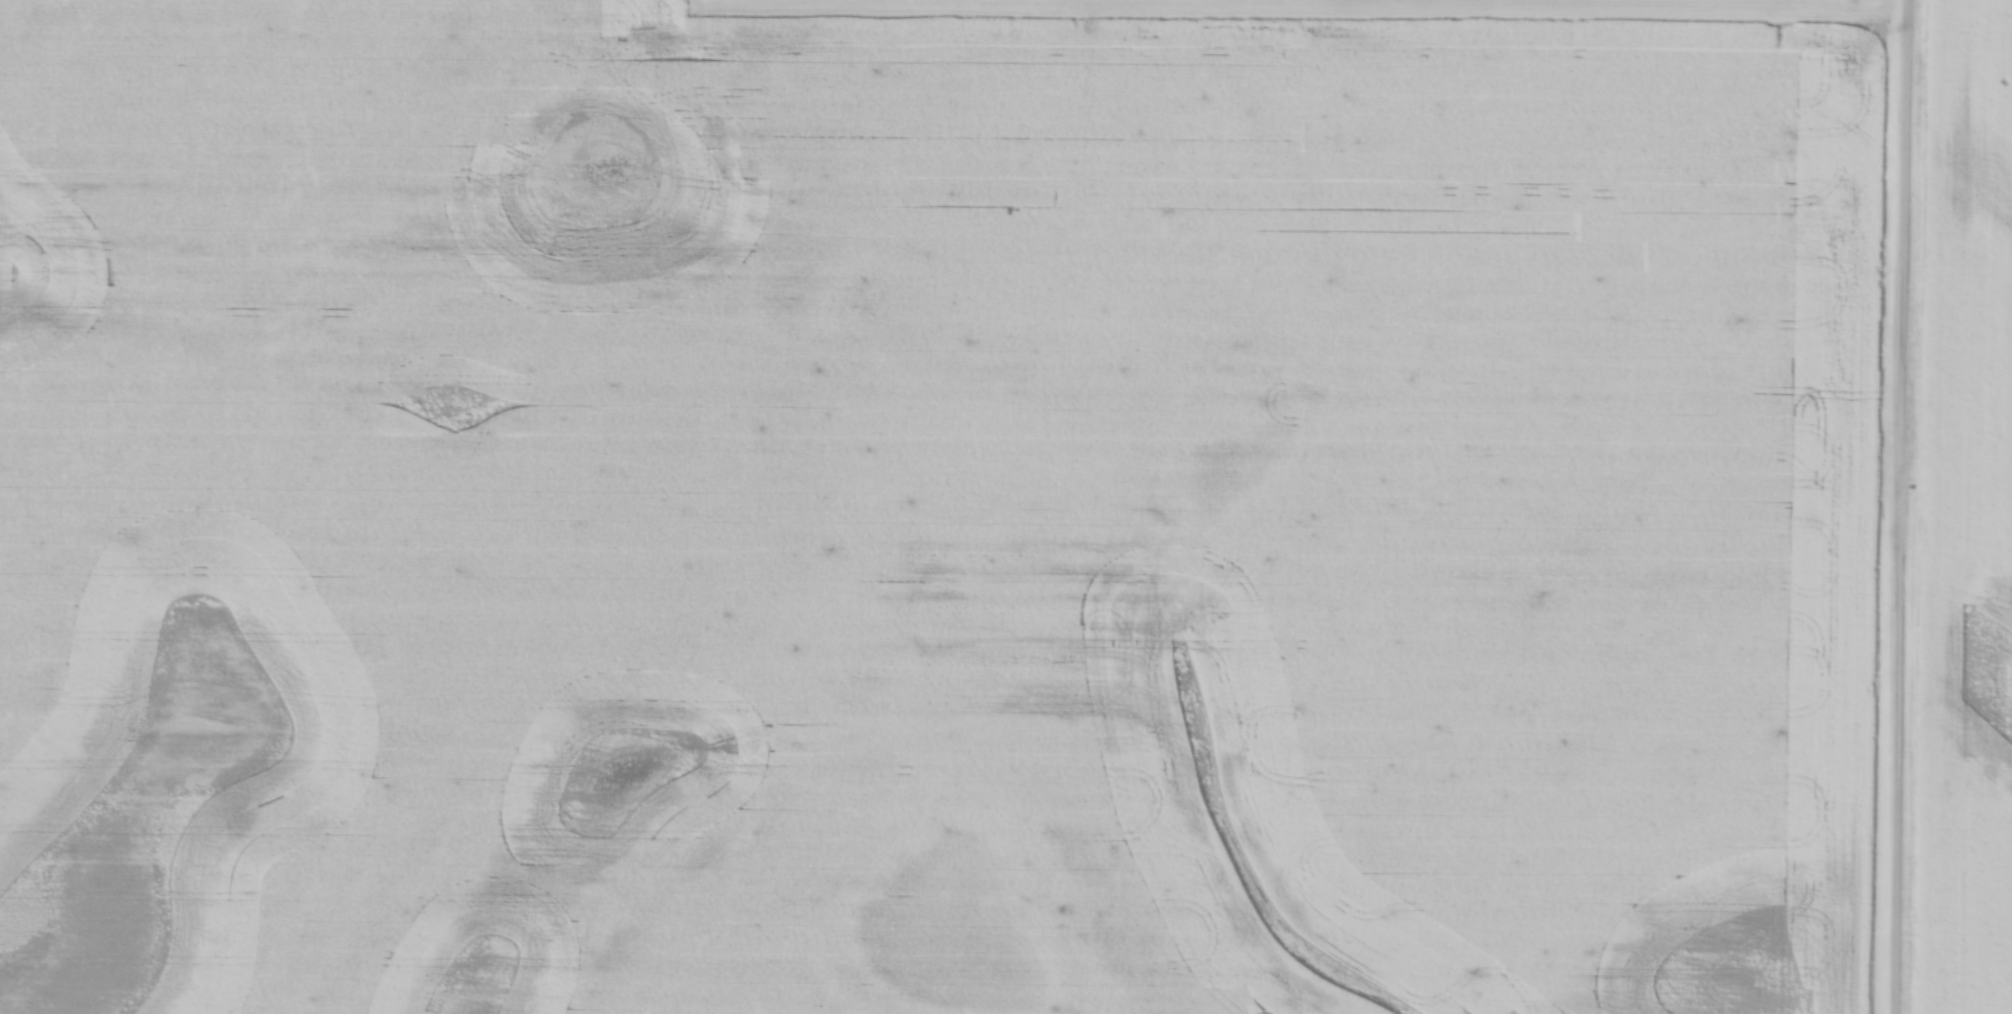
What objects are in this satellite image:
road: (1903, 507)

